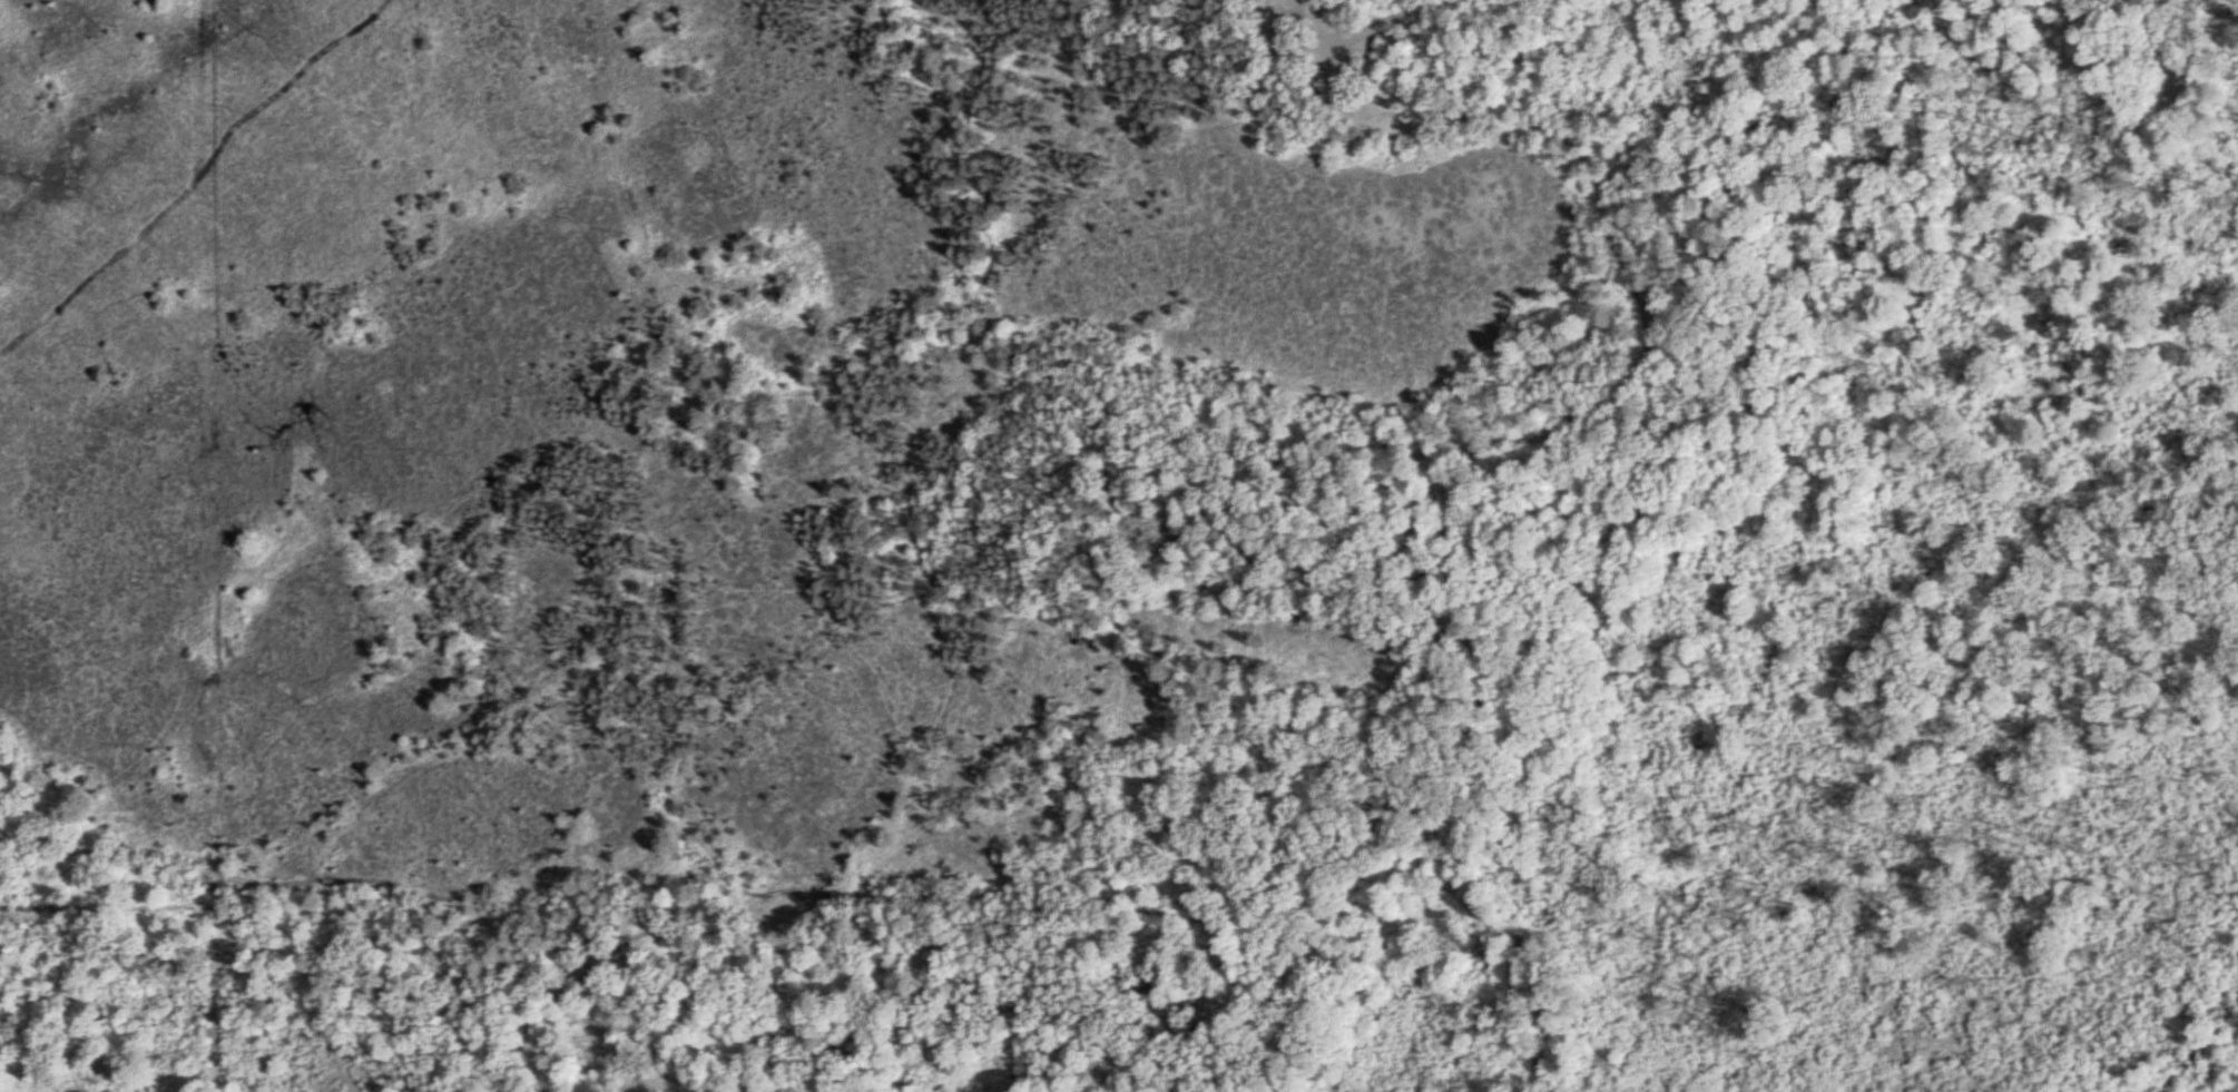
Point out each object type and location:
road: (1357, 37)
building: (1322, 85)

